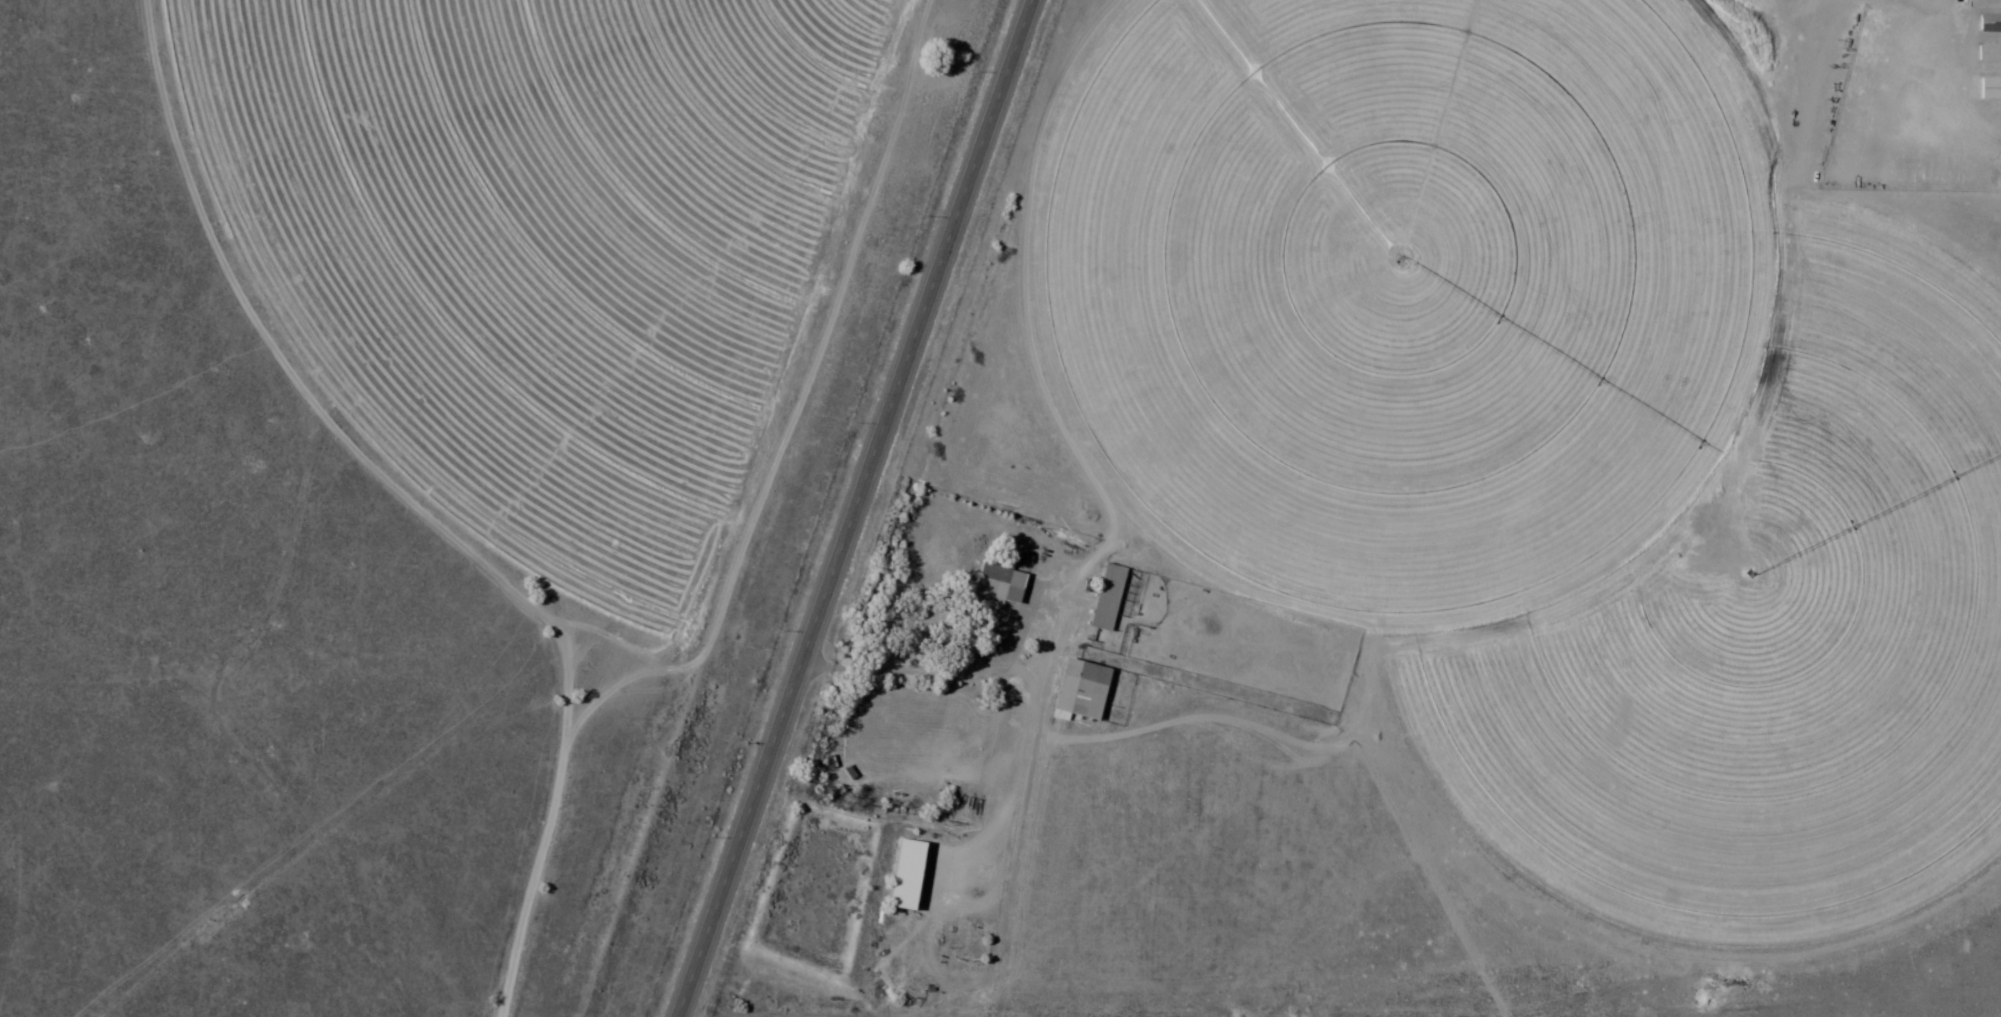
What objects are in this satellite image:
building: (1989, 24)
building: (1989, 54)
crop: (533, 245)
crop: (1397, 287)
road: (852, 508)
crop: (1718, 567)
building: (999, 580)
building: (1107, 599)
building: (1079, 692)
building: (904, 876)

